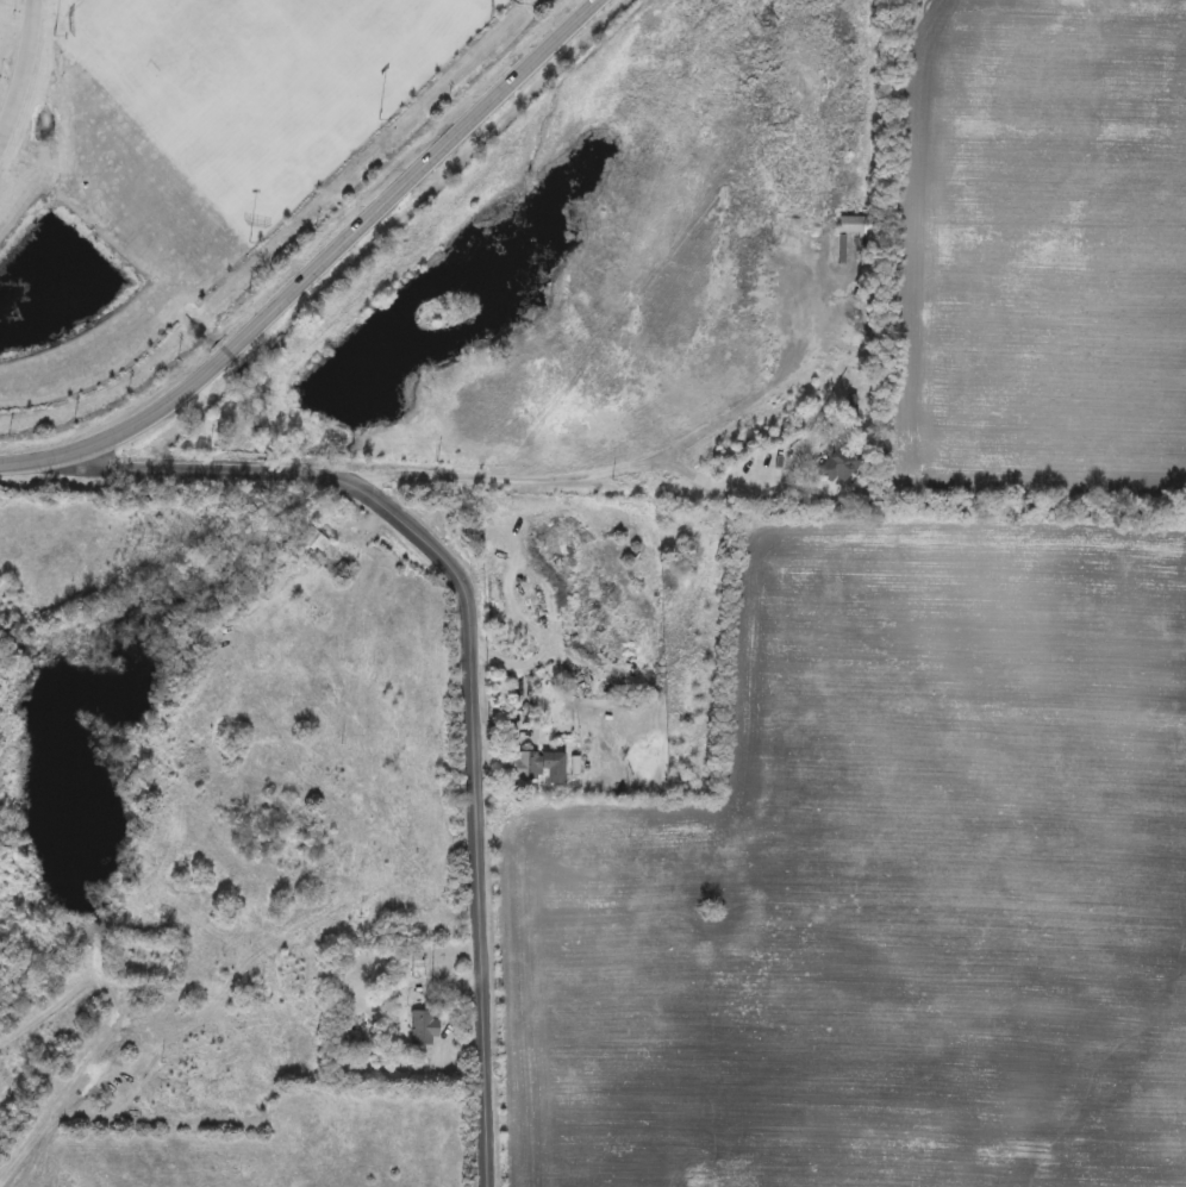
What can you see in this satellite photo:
park: (379, 32)
road: (20, 73)
park: (219, 93)
building: (848, 225)
road: (318, 265)
road: (757, 391)
building: (853, 399)
road: (487, 467)
building: (832, 467)
road: (692, 476)
building: (312, 542)
road: (467, 671)
road: (516, 676)
building: (523, 768)
building: (414, 964)
building: (333, 979)
building: (420, 1026)

